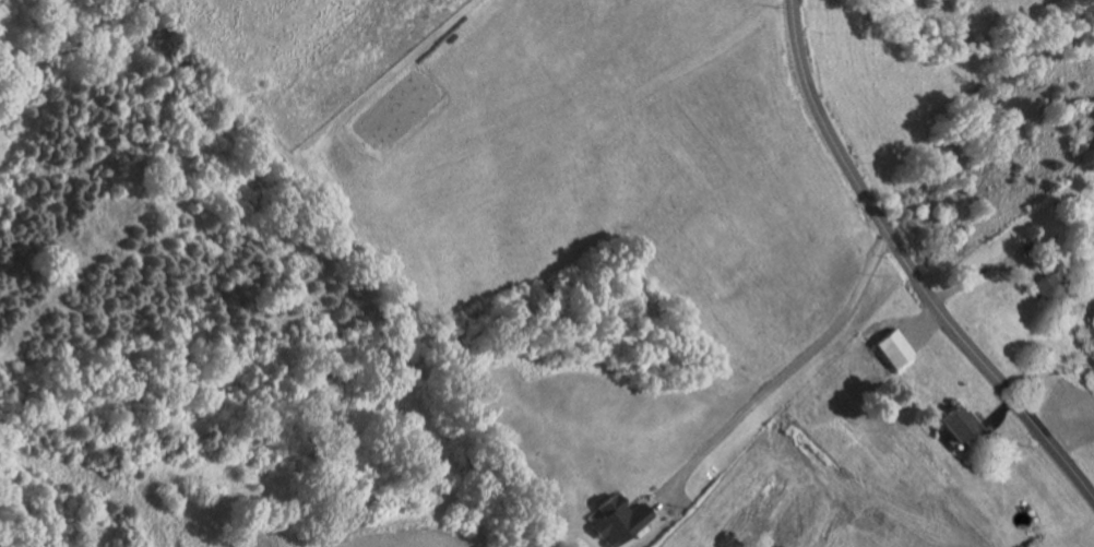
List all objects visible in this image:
road: (400, 67)
road: (909, 264)
road: (988, 270)
building: (1050, 288)
road: (926, 323)
building: (894, 348)
road: (780, 381)
road: (1000, 411)
building: (962, 424)
building: (618, 521)
crop: (401, 540)

